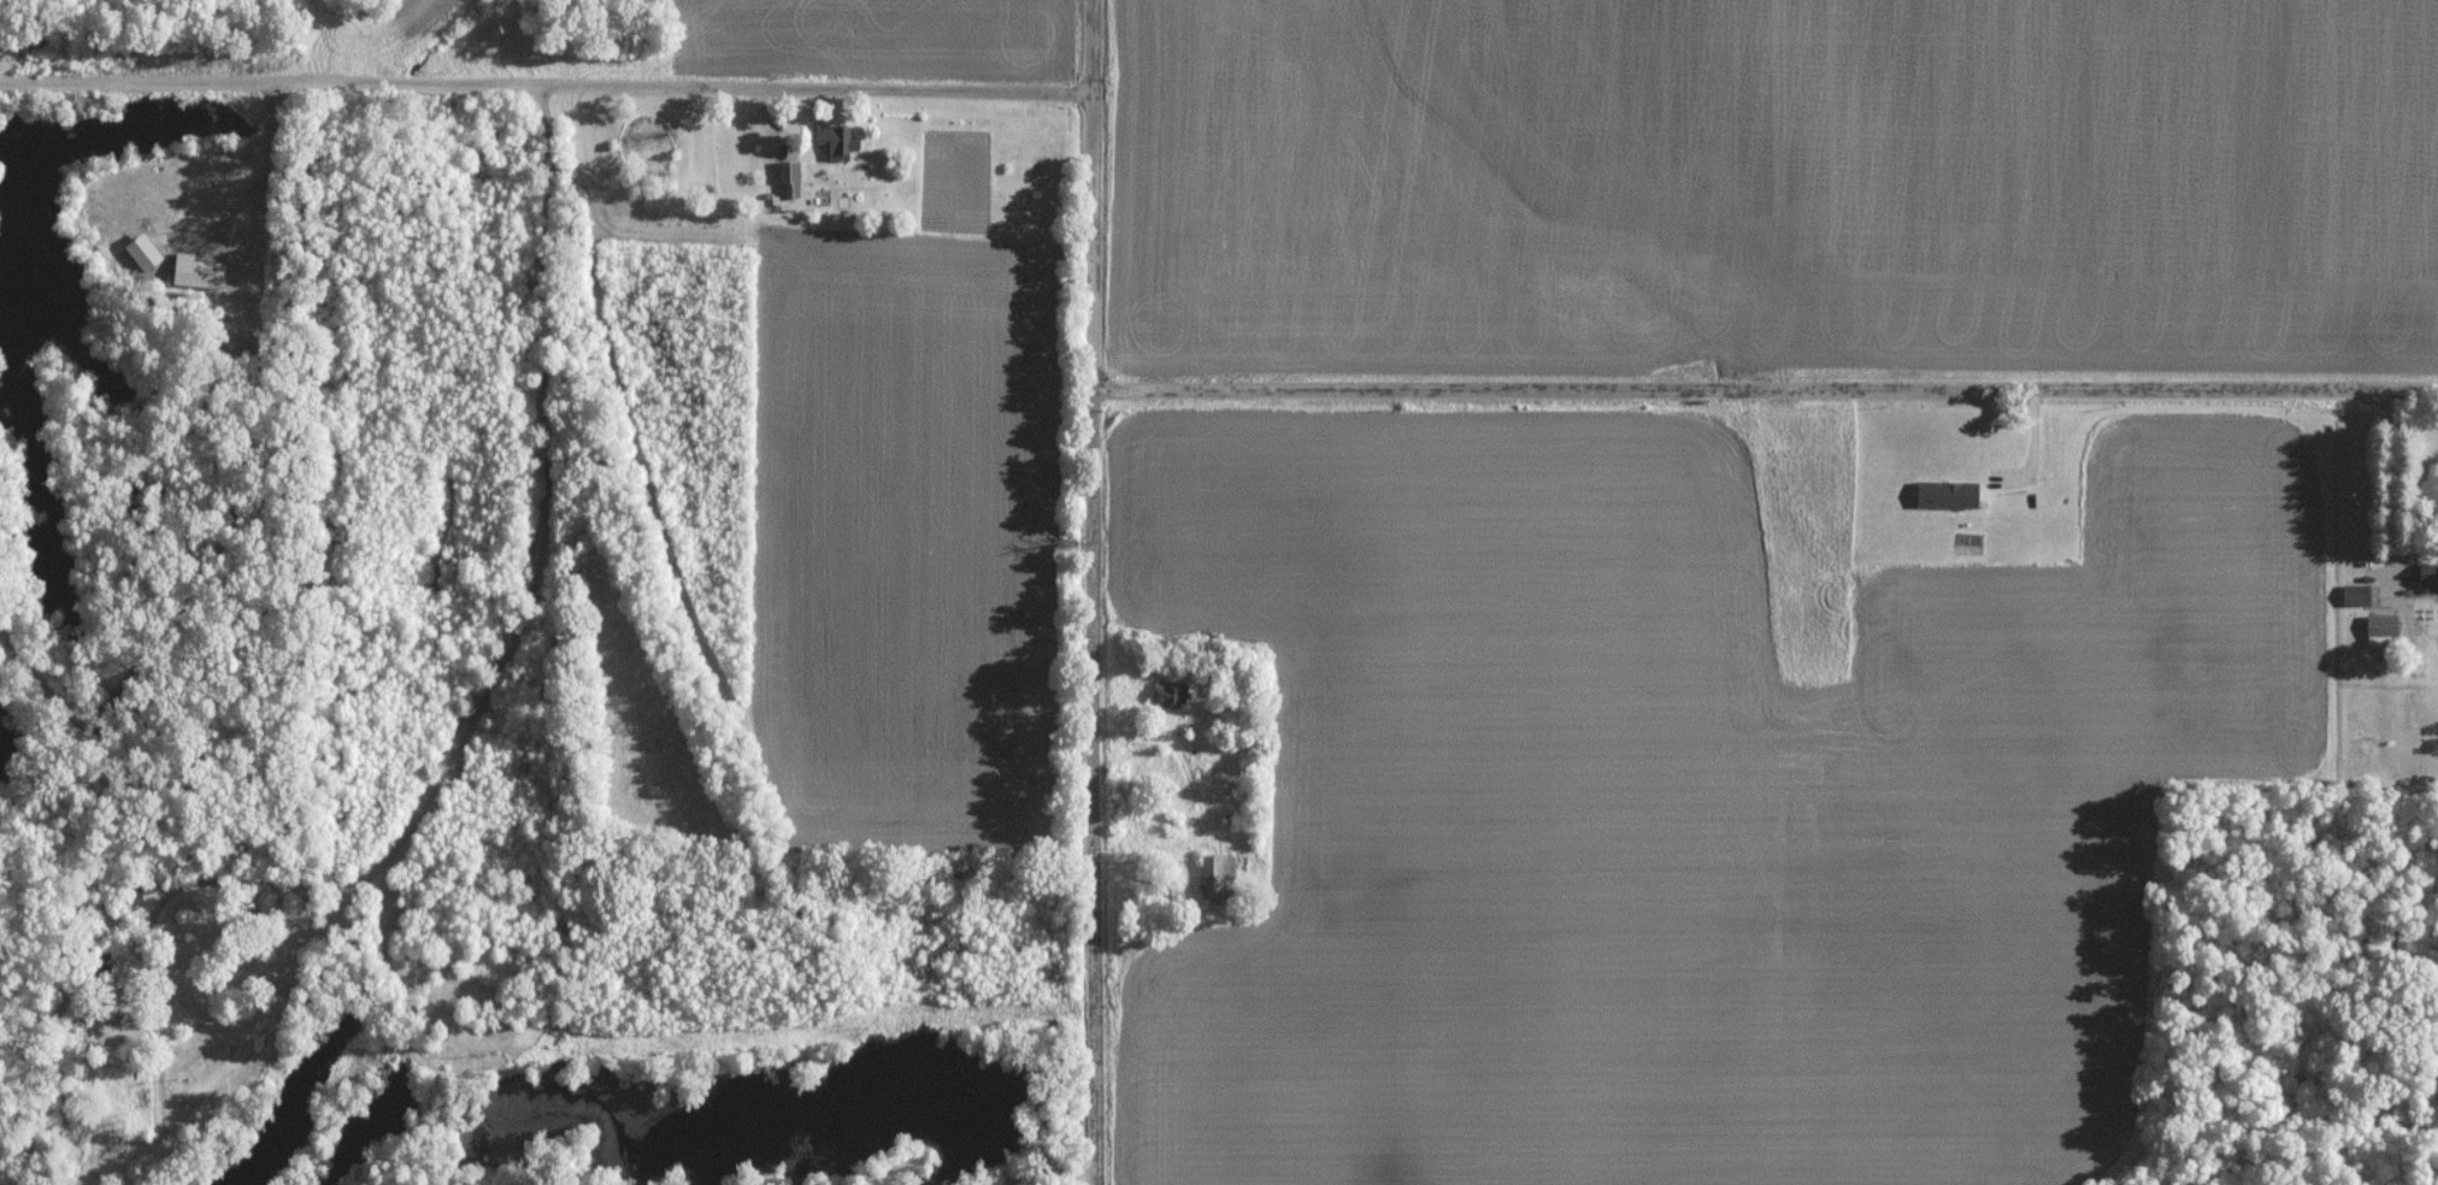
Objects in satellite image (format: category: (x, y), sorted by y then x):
road: (543, 95)
building: (832, 141)
building: (787, 178)
building: (137, 252)
building: (194, 272)
road: (1763, 393)
road: (2387, 488)
building: (1943, 494)
building: (2427, 579)
road: (1088, 591)
building: (2352, 595)
building: (2379, 627)
building: (1164, 695)
building: (1213, 877)

